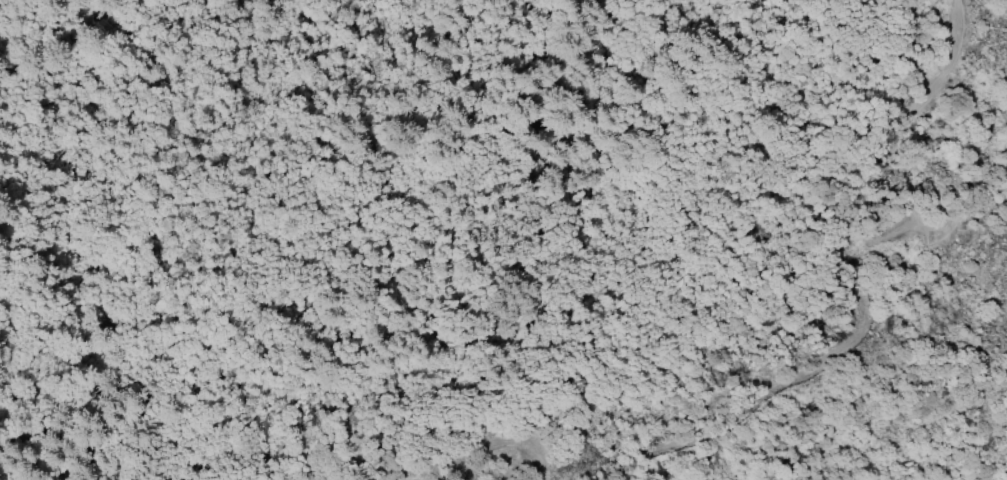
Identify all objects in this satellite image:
road: (947, 66)
road: (900, 191)
road: (605, 206)
road: (912, 225)
road: (926, 229)

